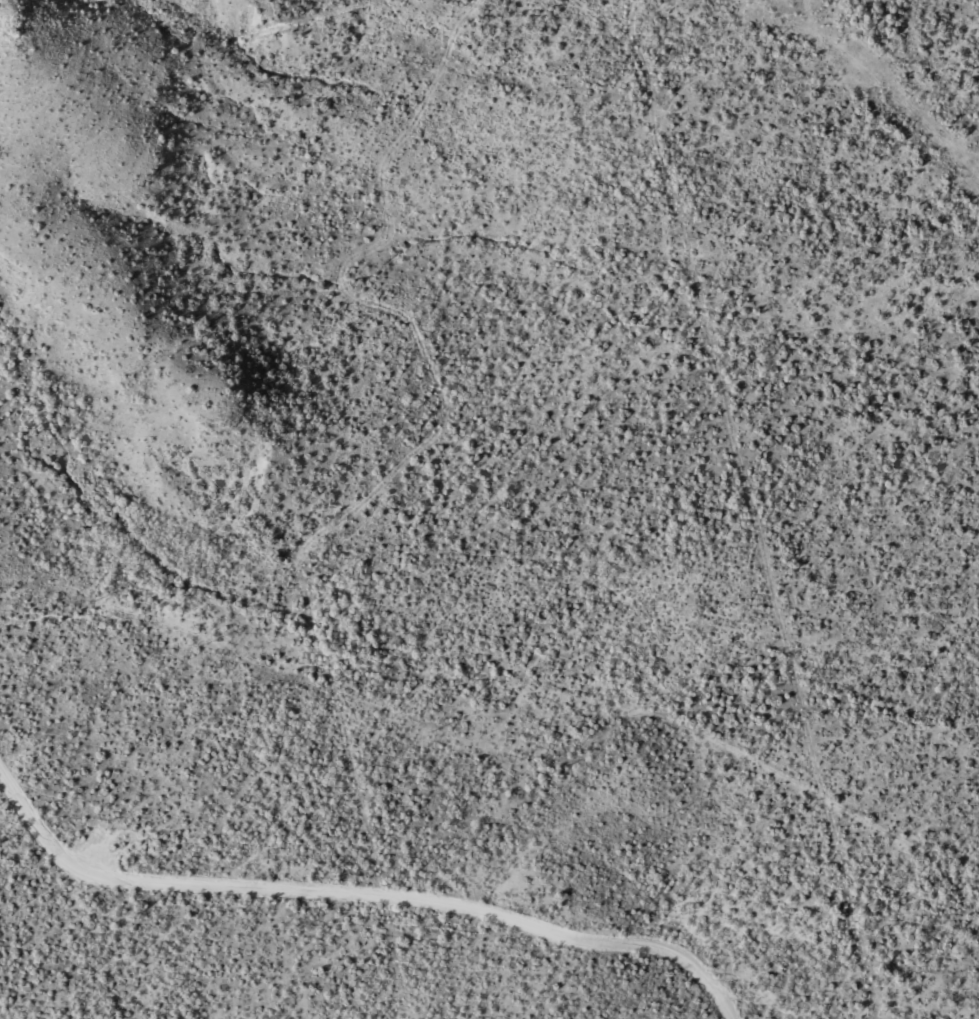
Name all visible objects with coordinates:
road: (354, 927)

